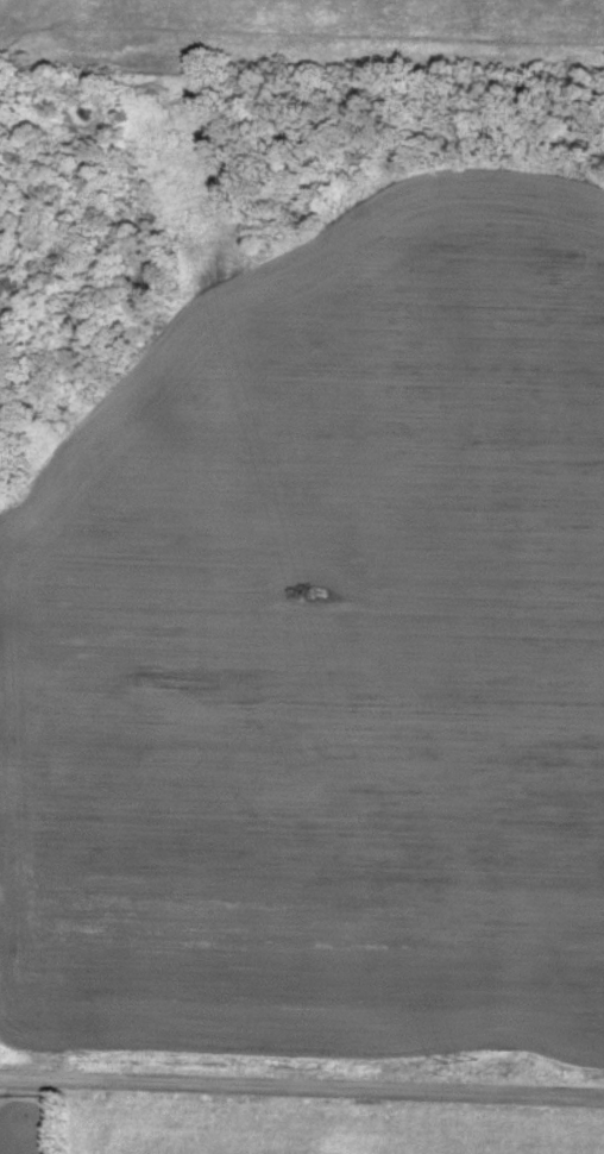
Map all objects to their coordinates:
power tower: (168, 87)
power tower: (316, 594)
power tower: (460, 1061)
road: (301, 1087)

